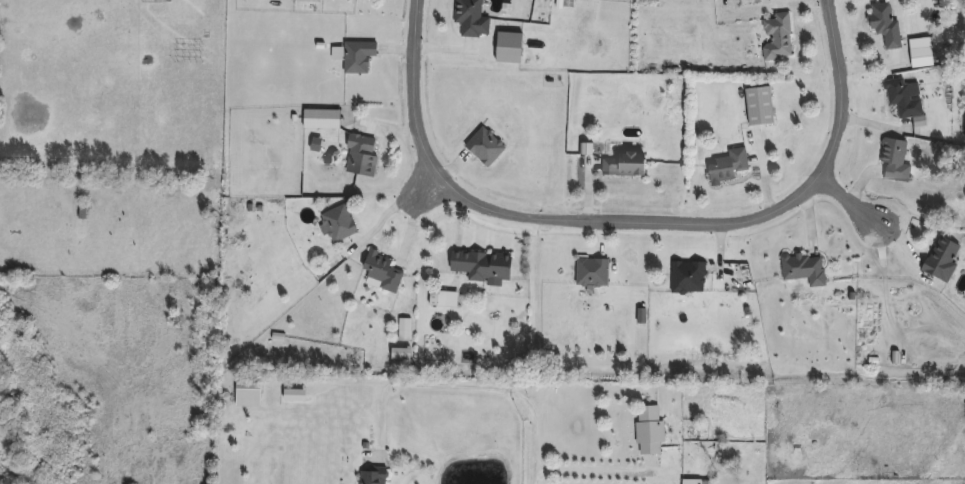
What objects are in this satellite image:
building: (469, 18)
building: (884, 24)
building: (776, 37)
building: (920, 52)
building: (357, 56)
building: (901, 98)
building: (758, 106)
building: (326, 118)
building: (484, 146)
building: (360, 155)
building: (893, 160)
building: (623, 165)
building: (726, 167)
road: (410, 195)
road: (856, 198)
building: (82, 211)
road: (636, 214)
road: (417, 222)
building: (337, 224)
building: (481, 266)
building: (802, 269)
building: (380, 273)
building: (591, 273)
building: (686, 278)
building: (442, 299)
building: (403, 330)
road: (439, 385)
building: (246, 393)
building: (648, 430)
road: (594, 472)
building: (371, 476)
road: (534, 478)
building: (694, 482)

